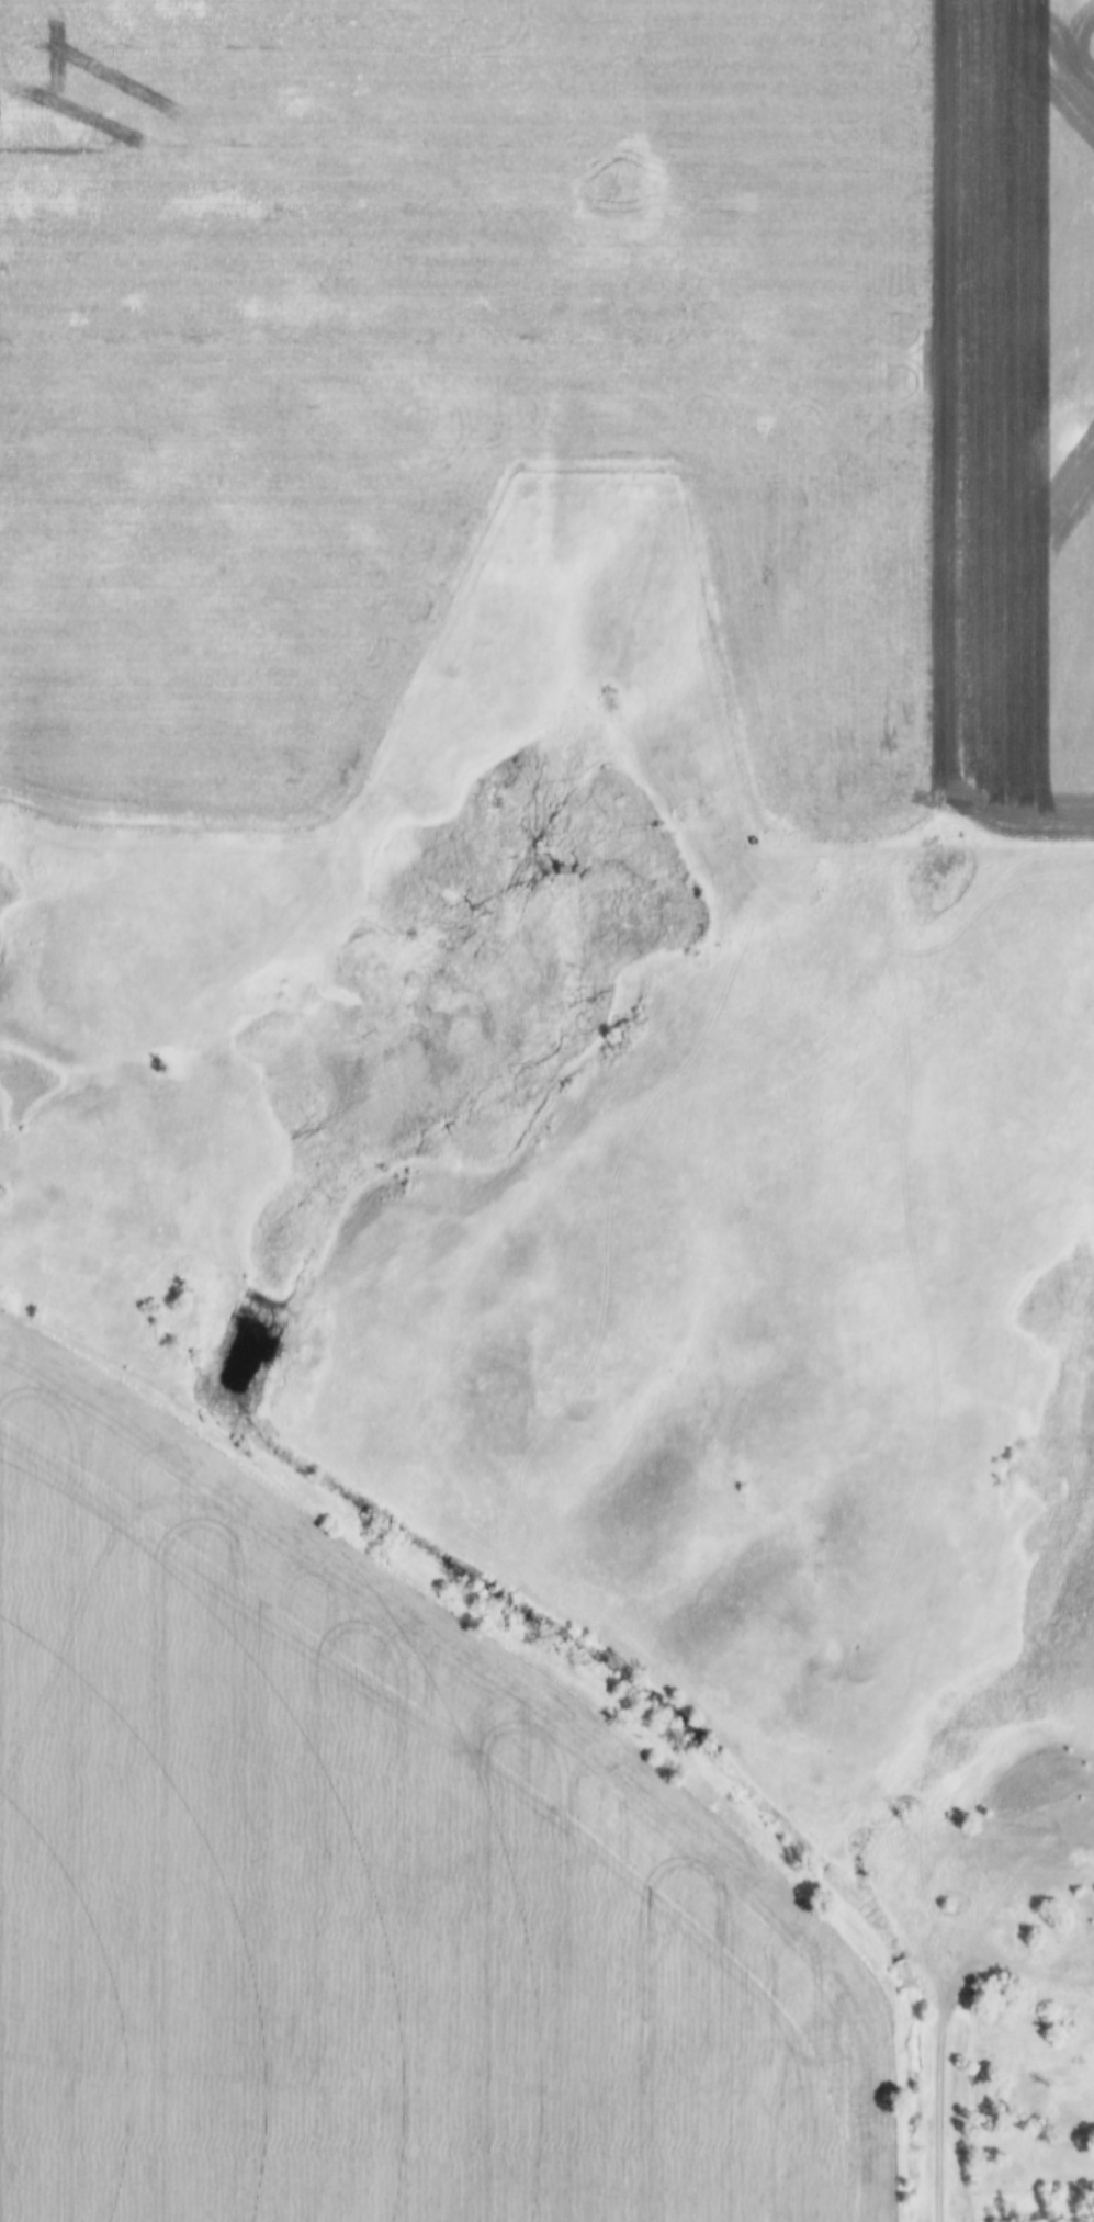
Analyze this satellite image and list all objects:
road: (949, 2121)

